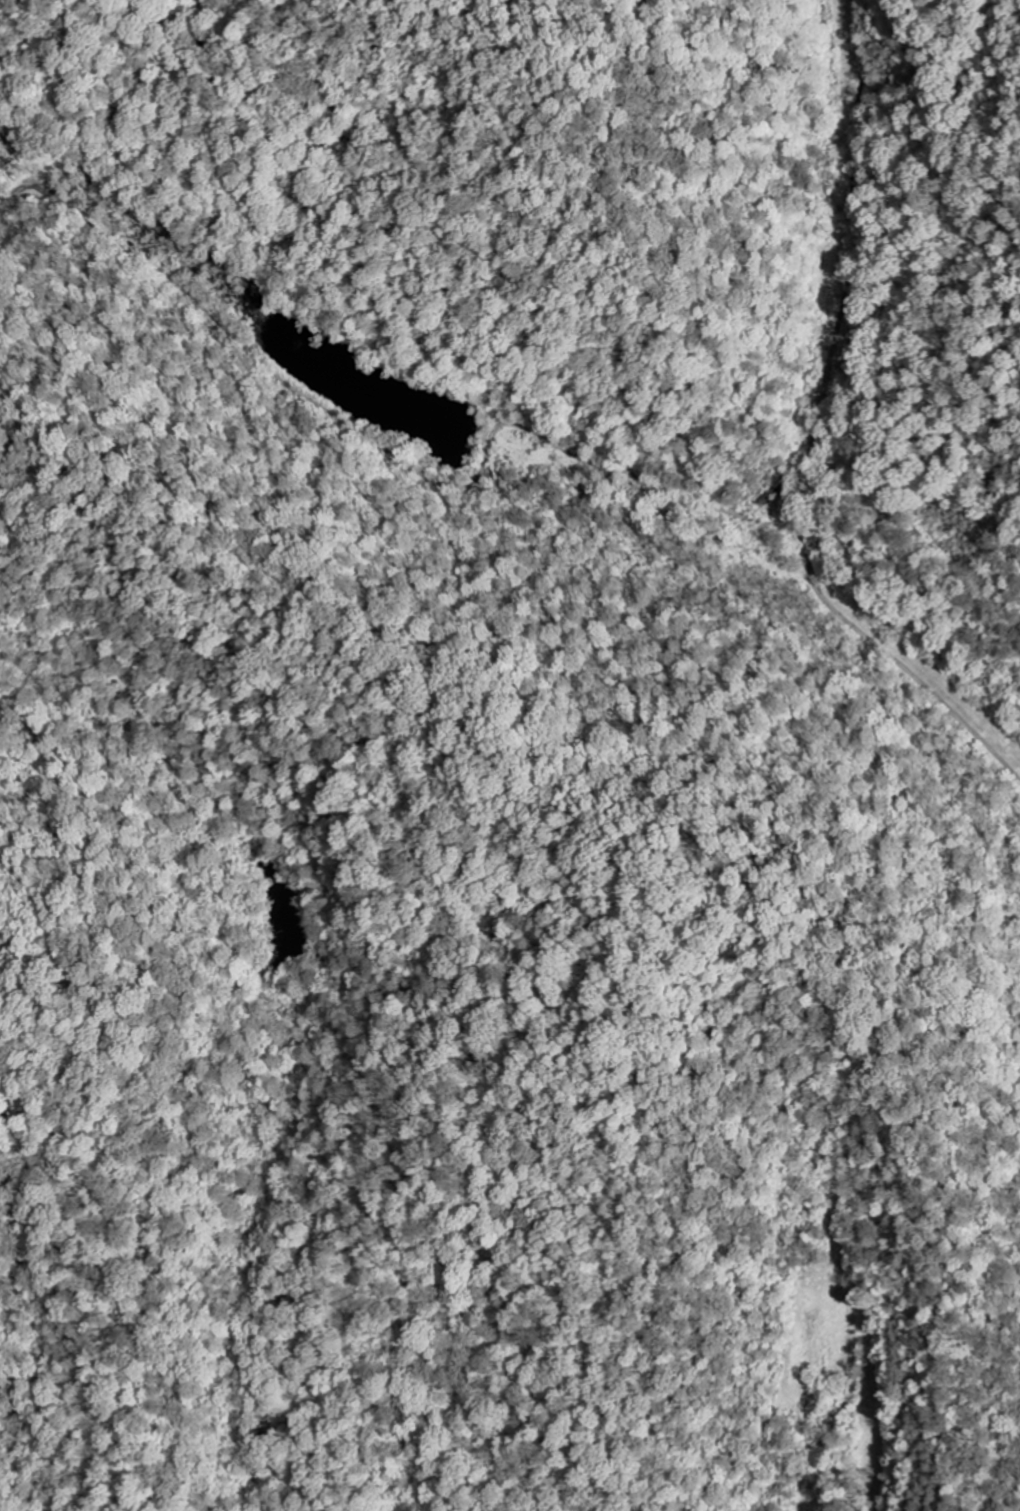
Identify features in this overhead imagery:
road: (812, 436)

